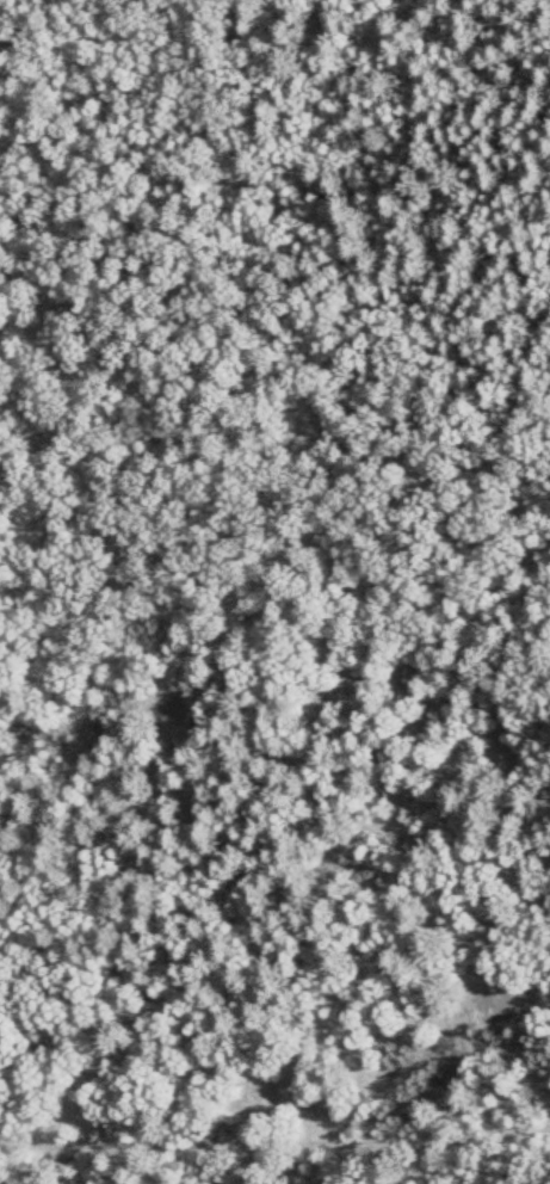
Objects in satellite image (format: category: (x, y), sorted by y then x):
road: (274, 1123)

